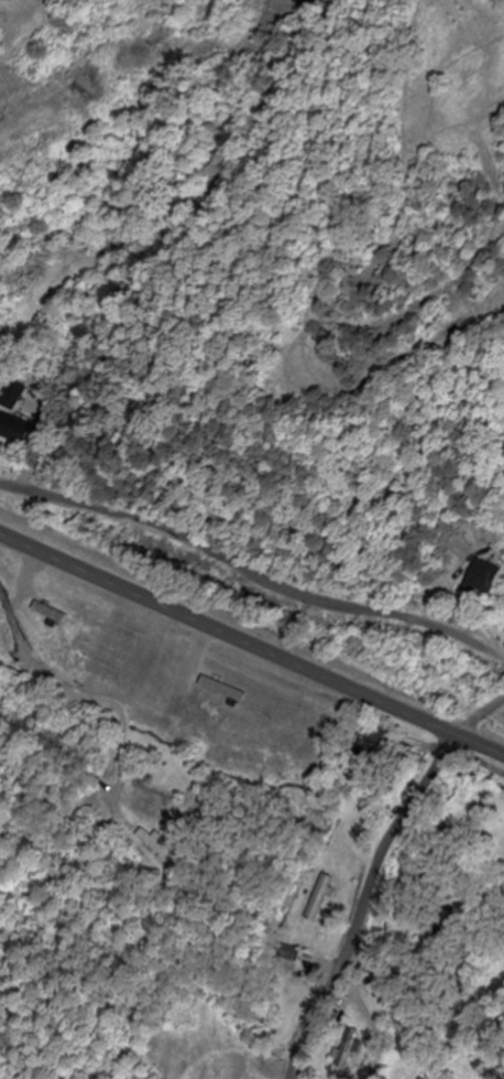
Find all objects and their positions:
building: (9, 396)
building: (12, 430)
road: (251, 575)
building: (483, 578)
road: (251, 646)
building: (369, 747)
road: (478, 760)
building: (153, 845)
road: (373, 874)
building: (317, 899)
building: (344, 1053)

